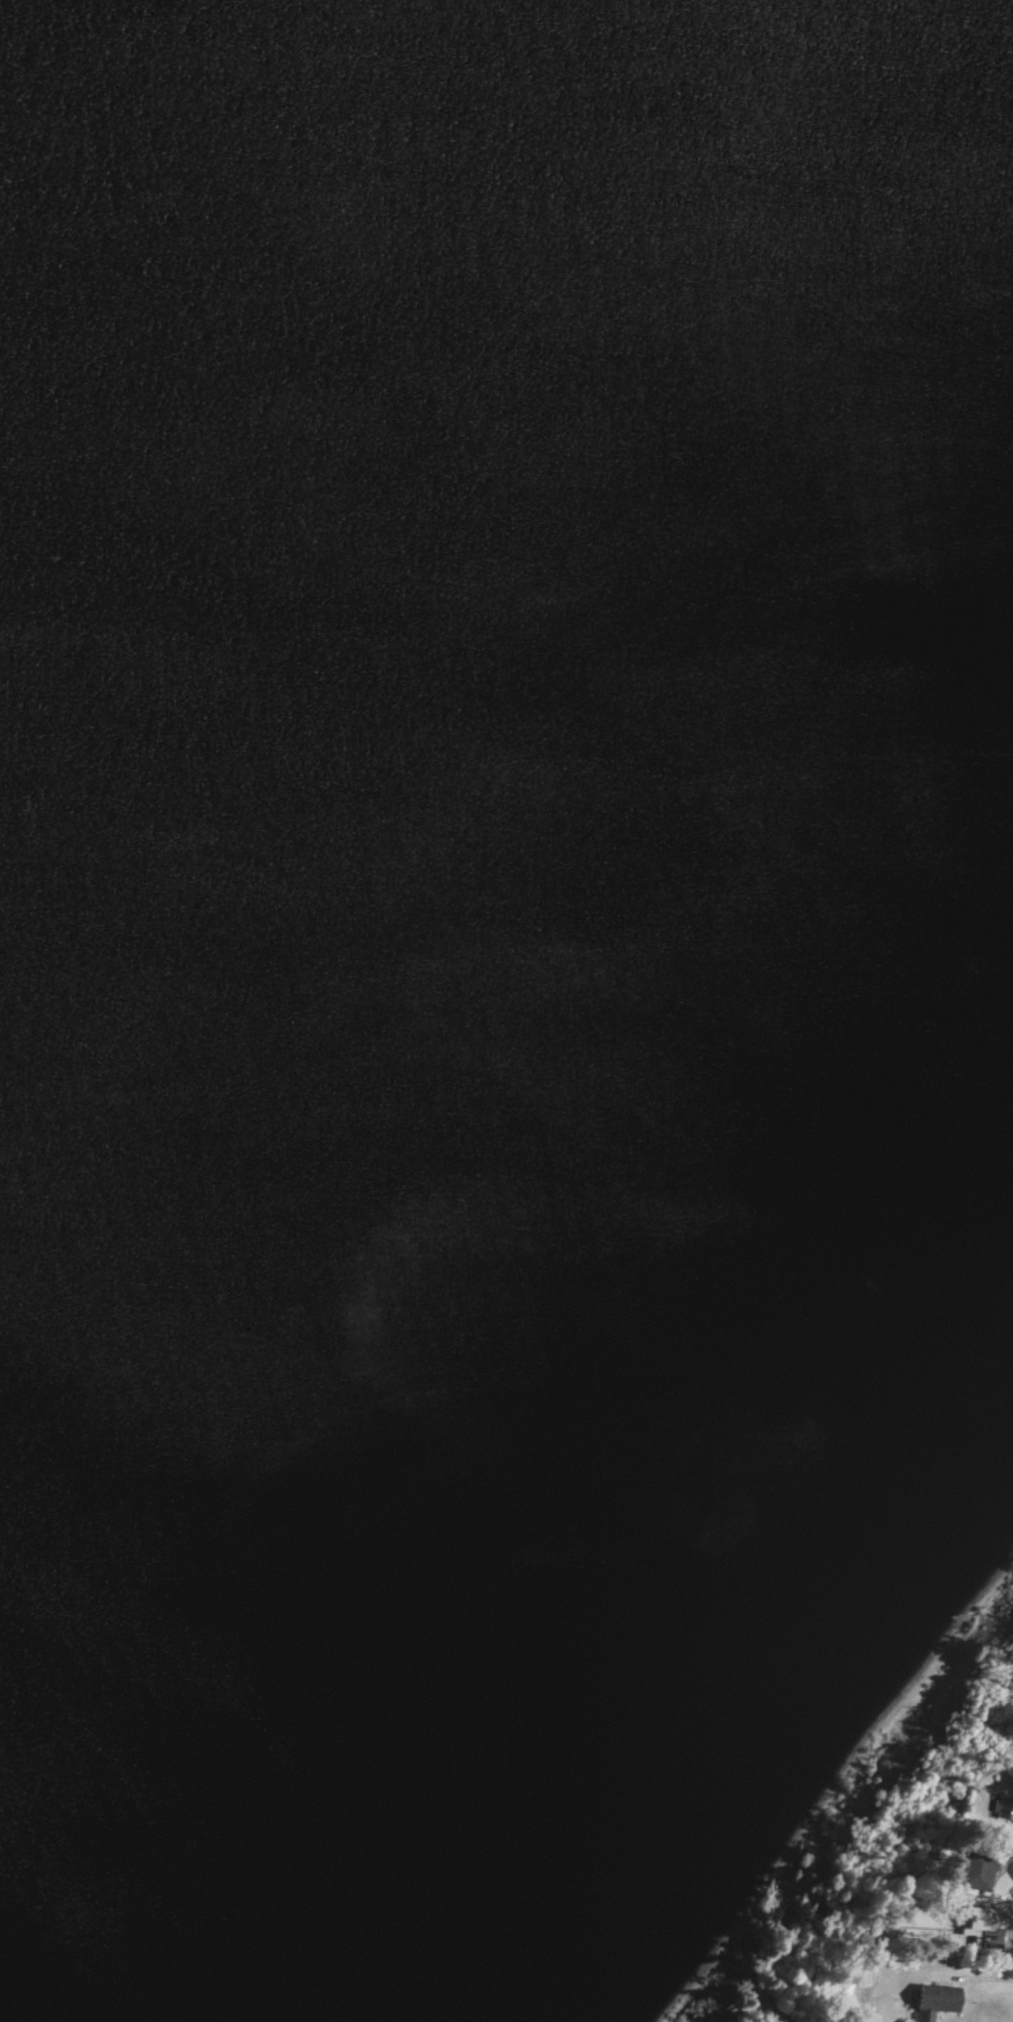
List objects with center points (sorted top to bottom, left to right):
building: (1000, 1809)
building: (972, 1873)
building: (1012, 1906)
building: (973, 1927)
road: (1011, 1976)
building: (930, 2002)

